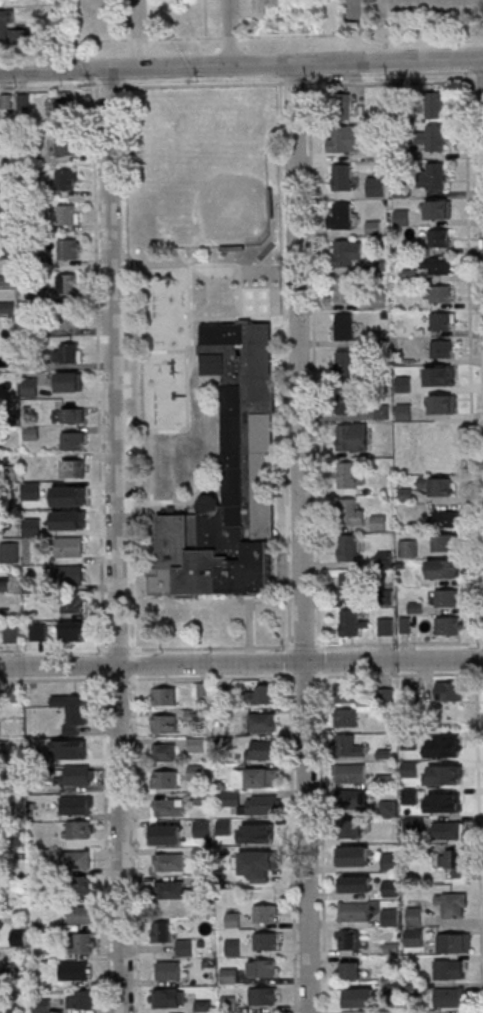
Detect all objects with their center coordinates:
road: (262, 4)
road: (302, 7)
road: (247, 8)
road: (320, 11)
parking lot: (237, 14)
road: (311, 20)
building: (11, 29)
road: (255, 31)
road: (357, 31)
road: (234, 32)
road: (139, 33)
road: (298, 34)
road: (229, 37)
road: (109, 40)
road: (419, 41)
road: (466, 63)
road: (241, 65)
road: (280, 68)
road: (311, 69)
road: (92, 73)
road: (478, 80)
road: (388, 81)
road: (292, 82)
road: (201, 84)
road: (48, 86)
road: (107, 86)
building: (435, 104)
building: (343, 108)
building: (65, 110)
building: (433, 137)
building: (348, 139)
building: (65, 144)
building: (434, 175)
park: (202, 177)
building: (344, 178)
building: (67, 179)
park: (205, 184)
building: (376, 185)
building: (436, 209)
building: (68, 214)
building: (344, 217)
building: (440, 237)
building: (69, 249)
building: (345, 254)
building: (436, 264)
building: (69, 283)
building: (345, 290)
building: (436, 293)
road: (262, 316)
building: (69, 319)
building: (441, 320)
building: (346, 327)
building: (442, 348)
road: (168, 351)
building: (69, 352)
road: (471, 357)
road: (284, 361)
road: (314, 362)
building: (346, 365)
road: (98, 376)
building: (71, 383)
building: (31, 387)
parking lot: (123, 394)
building: (347, 402)
building: (442, 403)
road: (187, 406)
building: (404, 411)
building: (73, 414)
building: (352, 438)
building: (73, 440)
building: (443, 442)
building: (74, 468)
building: (349, 476)
building: (229, 477)
building: (438, 485)
building: (404, 495)
building: (71, 498)
building: (349, 512)
building: (448, 518)
building: (71, 522)
road: (302, 537)
road: (115, 540)
building: (446, 542)
building: (69, 546)
building: (408, 548)
building: (350, 549)
building: (10, 553)
building: (444, 569)
building: (69, 574)
building: (354, 588)
building: (448, 597)
building: (72, 604)
building: (353, 624)
building: (450, 625)
building: (386, 626)
building: (38, 631)
building: (73, 631)
building: (11, 632)
road: (399, 643)
road: (303, 646)
road: (210, 648)
road: (53, 649)
road: (118, 649)
road: (477, 656)
road: (289, 660)
road: (320, 660)
road: (241, 662)
road: (133, 663)
road: (398, 673)
road: (304, 675)
road: (146, 676)
building: (200, 689)
building: (451, 690)
building: (412, 692)
building: (346, 693)
building: (265, 694)
building: (164, 696)
building: (387, 697)
building: (73, 710)
building: (193, 715)
building: (346, 716)
building: (262, 722)
building: (165, 723)
building: (198, 745)
building: (348, 745)
building: (411, 745)
building: (452, 746)
building: (73, 749)
building: (262, 749)
building: (165, 751)
building: (350, 772)
building: (197, 773)
building: (77, 774)
building: (262, 777)
building: (165, 779)
building: (386, 781)
building: (412, 797)
building: (203, 798)
building: (351, 798)
building: (229, 799)
building: (77, 804)
building: (264, 805)
building: (168, 806)
building: (390, 809)
building: (226, 827)
building: (416, 827)
building: (81, 829)
building: (349, 829)
building: (205, 830)
building: (449, 830)
building: (162, 834)
road: (479, 837)
road: (293, 842)
road: (322, 842)
road: (135, 843)
road: (106, 844)
building: (373, 857)
building: (355, 858)
building: (77, 859)
building: (265, 859)
building: (453, 859)
building: (168, 861)
building: (392, 864)
building: (80, 885)
building: (358, 886)
building: (173, 889)
building: (393, 890)
building: (451, 904)
building: (355, 912)
building: (266, 913)
building: (81, 914)
building: (414, 916)
building: (392, 917)
building: (233, 919)
building: (161, 931)
building: (416, 935)
building: (347, 939)
building: (267, 940)
building: (85, 942)
building: (453, 942)
building: (185, 946)
building: (233, 946)
building: (264, 967)
building: (451, 968)
building: (169, 969)
building: (76, 970)
building: (351, 970)
building: (229, 975)
building: (263, 996)
building: (358, 996)
building: (167, 997)
building: (449, 997)
building: (83, 998)
building: (229, 1002)
building: (43, 1005)

